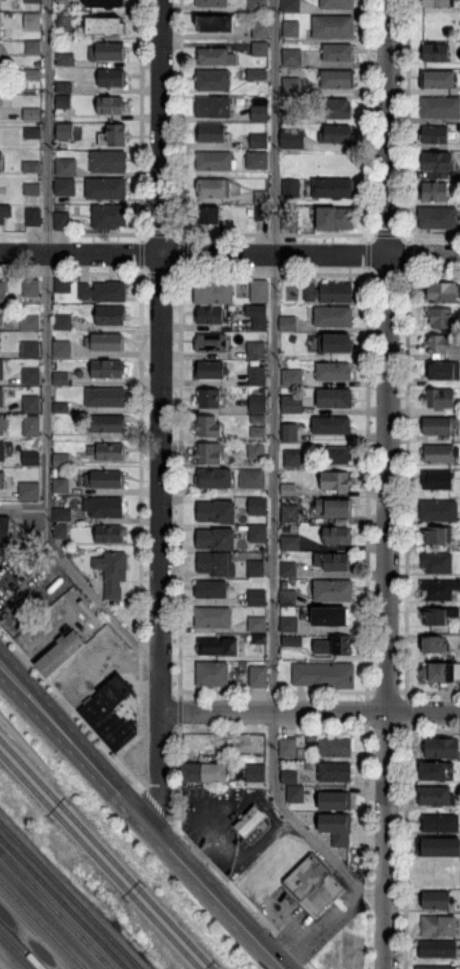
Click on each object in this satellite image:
building: (31, 1)
building: (105, 3)
building: (211, 3)
building: (336, 3)
building: (436, 3)
building: (257, 5)
building: (290, 6)
building: (31, 21)
building: (213, 23)
building: (62, 25)
building: (103, 25)
building: (332, 27)
building: (0, 28)
building: (290, 28)
building: (259, 30)
building: (32, 47)
building: (259, 49)
building: (106, 51)
building: (337, 52)
building: (433, 52)
building: (215, 56)
building: (291, 57)
building: (64, 59)
building: (31, 74)
building: (255, 74)
building: (111, 78)
building: (336, 79)
building: (436, 79)
building: (211, 80)
building: (290, 85)
building: (62, 87)
building: (62, 101)
building: (109, 106)
building: (211, 106)
building: (334, 107)
building: (439, 108)
building: (258, 112)
building: (287, 113)
building: (30, 114)
building: (65, 118)
building: (63, 130)
building: (209, 133)
building: (29, 134)
building: (333, 134)
building: (432, 134)
building: (112, 135)
building: (290, 138)
building: (257, 140)
building: (256, 160)
building: (214, 161)
building: (108, 162)
building: (435, 162)
building: (0, 163)
building: (65, 165)
building: (31, 166)
building: (64, 187)
building: (105, 188)
building: (212, 188)
building: (290, 188)
building: (31, 189)
building: (332, 189)
building: (433, 191)
building: (261, 197)
building: (4, 212)
building: (262, 213)
building: (210, 216)
building: (108, 217)
building: (436, 217)
building: (32, 218)
building: (334, 218)
building: (290, 220)
building: (61, 221)
road: (229, 253)
road: (47, 269)
building: (62, 285)
building: (30, 288)
building: (103, 291)
building: (212, 291)
building: (259, 291)
building: (441, 291)
building: (2, 292)
building: (327, 292)
building: (107, 315)
building: (209, 315)
building: (1, 316)
building: (332, 316)
building: (442, 318)
building: (62, 322)
building: (259, 322)
building: (29, 323)
building: (288, 324)
building: (291, 337)
building: (105, 341)
building: (335, 341)
building: (210, 343)
building: (441, 345)
building: (28, 349)
building: (62, 349)
building: (255, 350)
building: (252, 361)
building: (106, 369)
building: (210, 370)
building: (0, 371)
building: (332, 371)
building: (443, 371)
building: (255, 375)
building: (30, 376)
building: (292, 377)
building: (60, 379)
road: (273, 397)
building: (0, 398)
building: (105, 398)
building: (333, 398)
building: (438, 398)
building: (209, 399)
building: (30, 403)
building: (258, 403)
building: (289, 405)
building: (60, 408)
road: (157, 418)
building: (257, 419)
building: (104, 424)
building: (1, 425)
building: (29, 425)
building: (330, 425)
building: (437, 426)
building: (207, 427)
building: (257, 431)
building: (288, 432)
building: (255, 450)
building: (2, 452)
building: (107, 452)
building: (210, 454)
building: (439, 454)
building: (338, 455)
building: (292, 458)
building: (29, 459)
building: (61, 460)
building: (212, 479)
building: (251, 479)
building: (436, 479)
building: (103, 480)
building: (335, 480)
building: (1, 481)
road: (386, 484)
building: (60, 485)
building: (287, 489)
building: (27, 491)
building: (256, 506)
building: (102, 507)
building: (333, 507)
road: (23, 509)
building: (438, 511)
building: (213, 512)
building: (289, 513)
building: (62, 514)
building: (287, 528)
building: (3, 532)
building: (59, 532)
building: (255, 533)
building: (107, 534)
building: (334, 535)
building: (435, 535)
building: (213, 539)
building: (289, 543)
building: (332, 561)
building: (437, 563)
building: (214, 564)
building: (254, 568)
building: (287, 570)
building: (111, 573)
parking lot: (9, 577)
building: (210, 589)
building: (439, 590)
building: (332, 591)
building: (256, 598)
building: (287, 598)
road: (101, 605)
building: (438, 615)
building: (329, 616)
building: (212, 618)
building: (93, 624)
building: (256, 624)
building: (288, 624)
building: (259, 639)
building: (291, 642)
building: (433, 643)
building: (332, 646)
building: (216, 647)
building: (61, 652)
building: (438, 672)
building: (212, 674)
building: (256, 676)
building: (323, 676)
road: (307, 711)
building: (111, 713)
building: (287, 747)
building: (333, 747)
building: (441, 747)
building: (437, 771)
building: (203, 772)
building: (334, 772)
building: (256, 774)
building: (288, 777)
building: (293, 794)
building: (435, 796)
building: (331, 801)
road: (140, 820)
building: (248, 820)
building: (439, 824)
building: (333, 828)
building: (438, 847)
road: (328, 852)
railway: (106, 854)
railway: (99, 861)
parking lot: (258, 863)
building: (311, 885)
railway: (69, 896)
building: (436, 900)
railway: (63, 903)
railway: (55, 911)
road: (331, 912)
road: (276, 914)
railway: (42, 924)
building: (437, 926)
railway: (35, 931)
railway: (22, 945)
building: (437, 950)
railway: (15, 952)
building: (436, 968)

